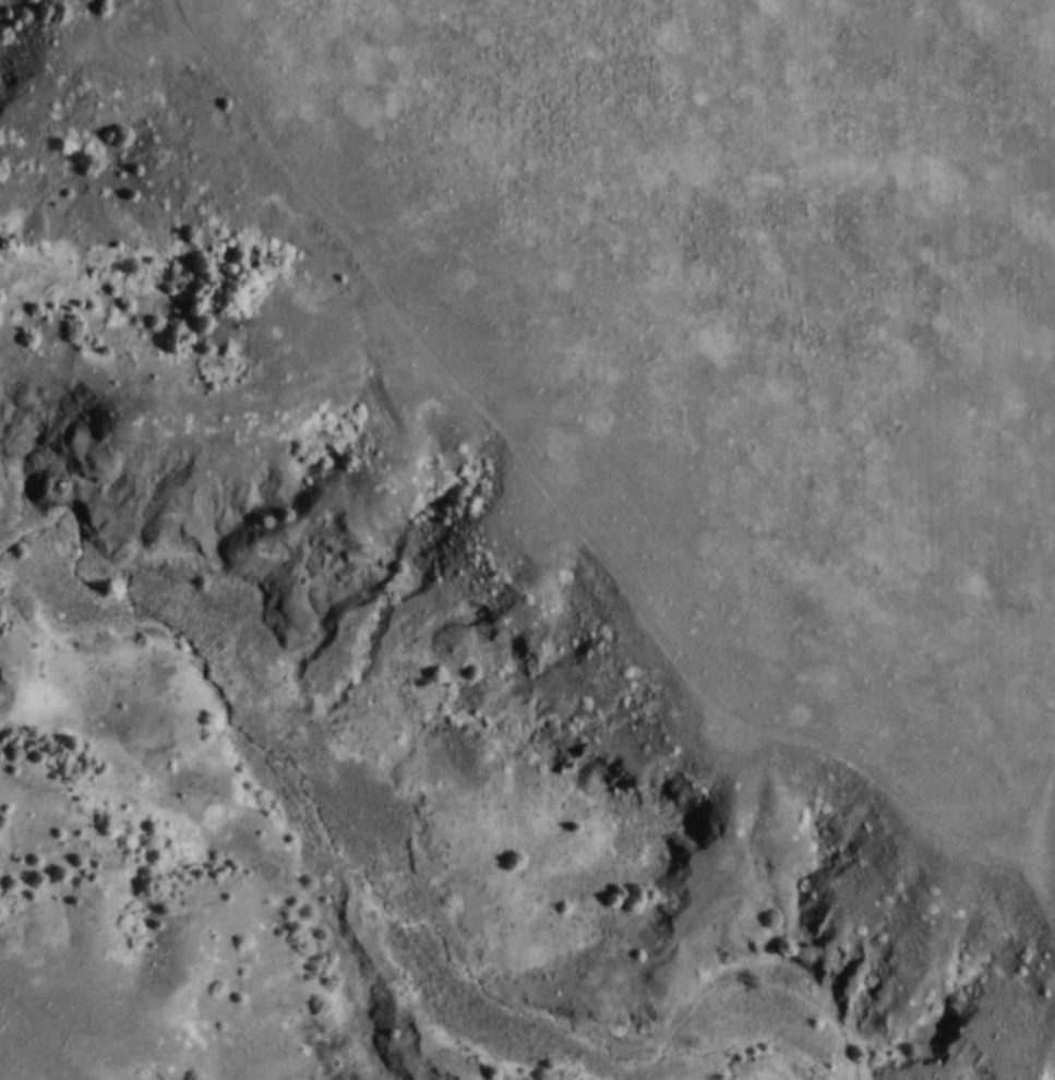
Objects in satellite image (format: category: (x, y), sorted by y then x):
road: (576, 521)
road: (966, 781)

